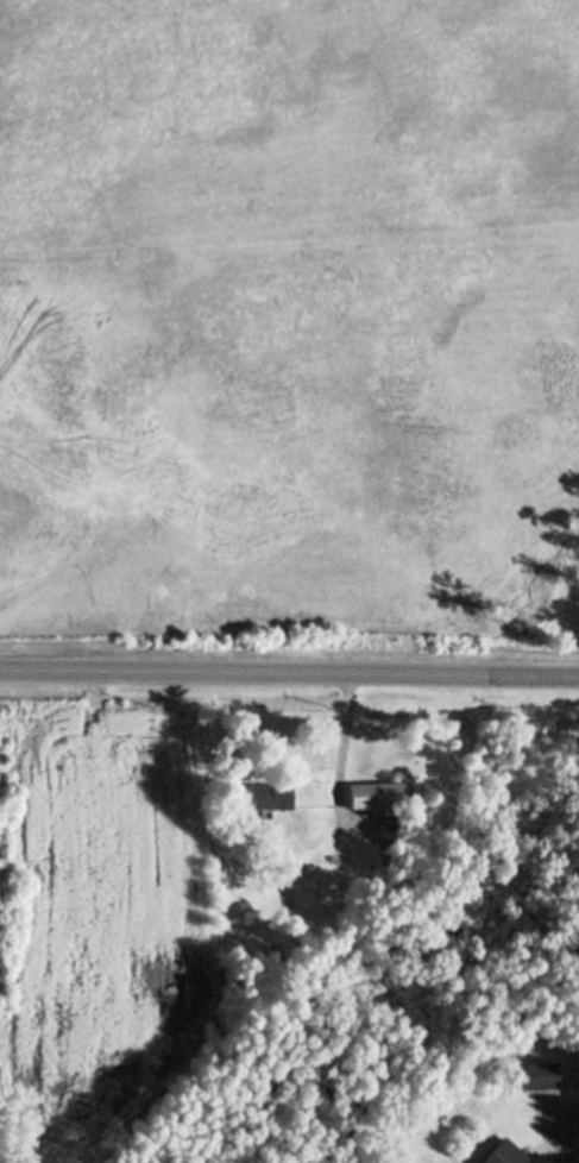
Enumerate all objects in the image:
road: (289, 668)
road: (341, 734)
building: (375, 794)
building: (269, 796)
building: (537, 1074)
road: (559, 1126)
building: (510, 1153)

